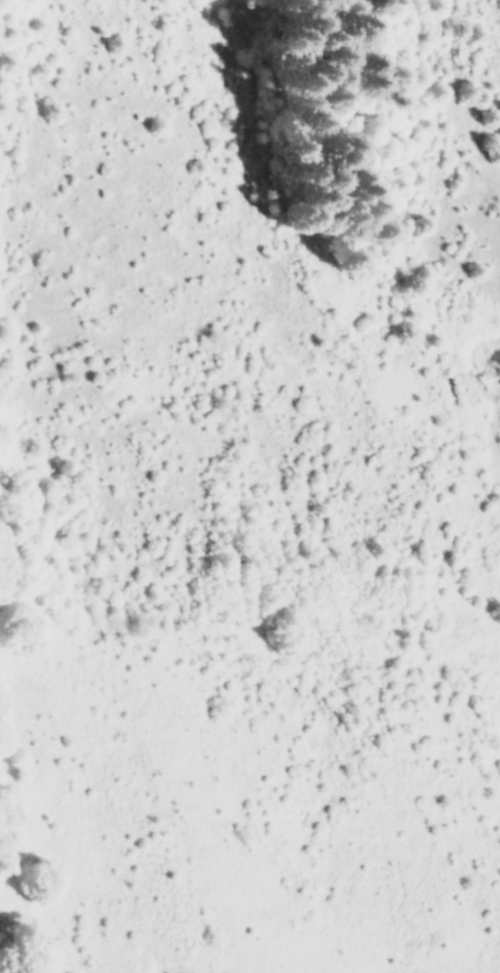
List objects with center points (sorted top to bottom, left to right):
building: (496, 365)
road: (495, 457)

